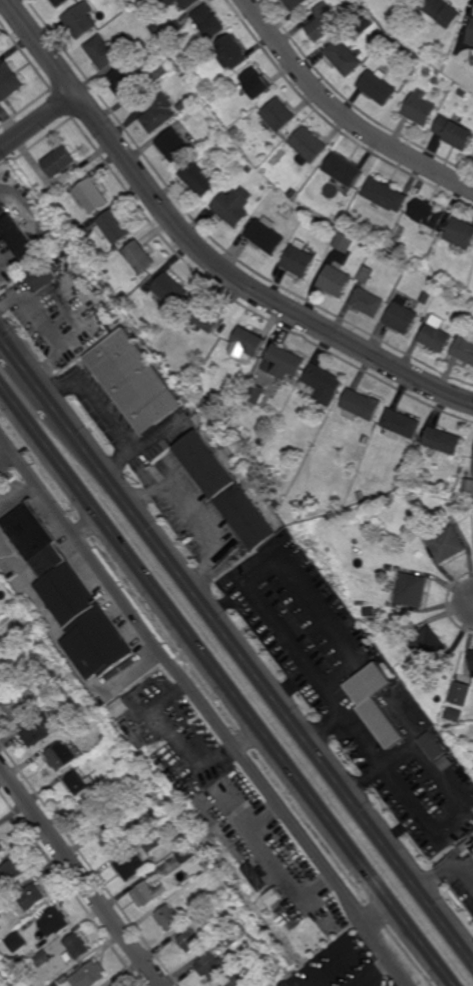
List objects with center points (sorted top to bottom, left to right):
building: (60, 3)
building: (182, 3)
building: (295, 4)
building: (440, 13)
building: (80, 20)
building: (209, 21)
building: (323, 23)
building: (364, 24)
building: (175, 27)
building: (156, 28)
building: (399, 34)
building: (471, 36)
building: (388, 43)
building: (102, 52)
building: (231, 53)
building: (344, 58)
building: (158, 72)
building: (9, 83)
building: (126, 83)
building: (257, 84)
building: (376, 88)
building: (463, 93)
building: (419, 110)
building: (158, 113)
road: (341, 114)
building: (280, 115)
road: (38, 123)
building: (234, 131)
building: (454, 133)
building: (173, 145)
building: (309, 146)
building: (60, 161)
building: (343, 168)
building: (249, 169)
building: (198, 176)
building: (293, 193)
building: (386, 193)
building: (92, 195)
building: (234, 205)
building: (428, 215)
building: (333, 216)
building: (318, 223)
building: (115, 226)
building: (333, 226)
building: (460, 234)
building: (18, 235)
building: (267, 235)
building: (396, 239)
building: (344, 242)
road: (197, 250)
building: (141, 255)
building: (299, 258)
building: (96, 261)
building: (56, 262)
building: (411, 267)
building: (41, 276)
building: (335, 279)
building: (172, 289)
building: (368, 292)
building: (209, 315)
building: (403, 316)
building: (459, 324)
power tower: (20, 328)
building: (437, 334)
building: (251, 340)
building: (464, 348)
building: (283, 361)
building: (180, 375)
building: (135, 380)
building: (322, 384)
building: (256, 392)
building: (361, 405)
building: (402, 424)
building: (366, 438)
building: (262, 439)
building: (444, 442)
building: (468, 486)
power tower: (140, 487)
building: (430, 489)
building: (227, 490)
building: (361, 495)
building: (388, 501)
road: (85, 524)
building: (28, 532)
building: (448, 543)
building: (46, 563)
building: (390, 567)
building: (0, 576)
building: (413, 589)
building: (387, 602)
building: (85, 623)
power tower: (257, 640)
building: (429, 645)
road: (236, 649)
building: (472, 660)
building: (35, 682)
road: (228, 684)
building: (373, 686)
building: (2, 688)
building: (462, 693)
building: (84, 701)
building: (17, 706)
road: (205, 711)
building: (382, 714)
building: (457, 715)
building: (41, 730)
building: (410, 730)
building: (137, 734)
road: (247, 738)
building: (117, 743)
building: (432, 746)
building: (63, 755)
building: (90, 758)
building: (471, 762)
building: (80, 783)
building: (146, 787)
building: (154, 793)
power tower: (374, 794)
building: (98, 809)
building: (119, 819)
building: (185, 838)
building: (111, 839)
building: (472, 846)
building: (2, 848)
building: (472, 848)
building: (187, 854)
building: (138, 857)
building: (206, 863)
road: (445, 869)
building: (12, 873)
building: (260, 875)
road: (79, 877)
building: (149, 893)
building: (268, 894)
building: (32, 896)
building: (231, 900)
building: (281, 905)
road: (380, 913)
building: (170, 917)
building: (55, 921)
building: (235, 935)
building: (190, 940)
building: (18, 941)
building: (209, 941)
building: (78, 945)
building: (44, 958)
building: (256, 961)
building: (212, 966)
building: (90, 974)
building: (20, 976)
building: (241, 980)
building: (326, 985)

